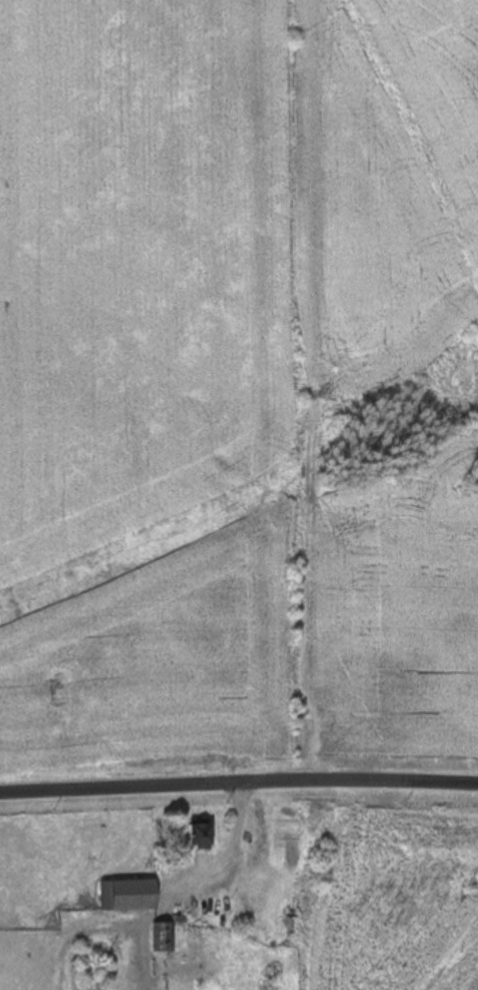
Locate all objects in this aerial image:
road: (238, 784)
building: (203, 836)
road: (229, 856)
building: (133, 895)
building: (164, 938)

